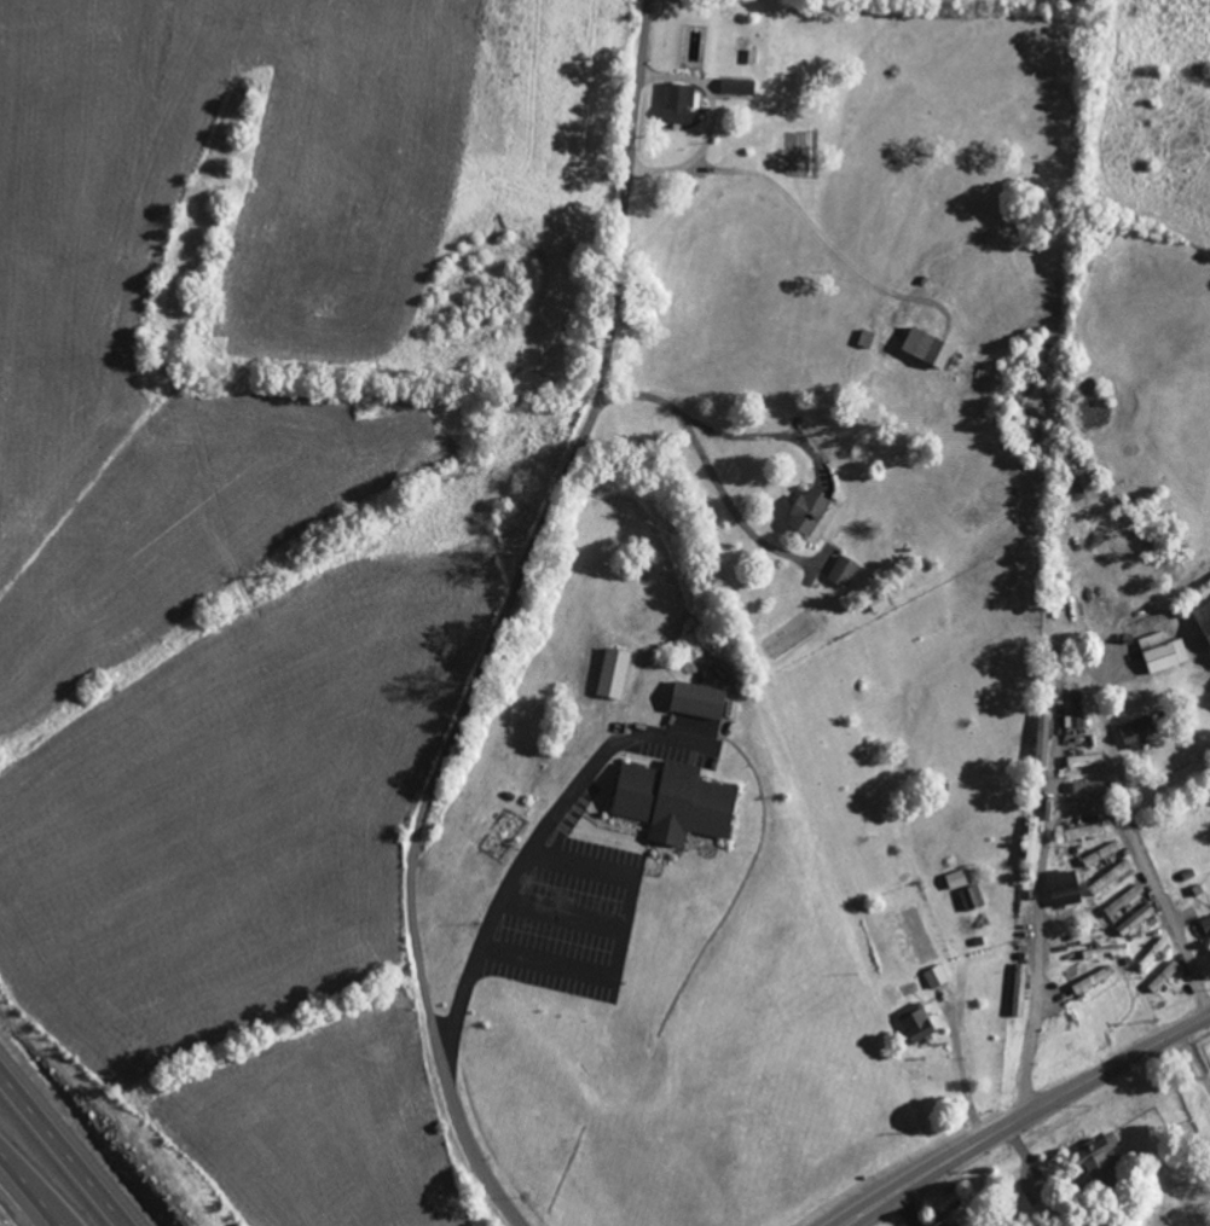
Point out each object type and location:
building: (676, 103)
road: (805, 215)
building: (925, 347)
road: (713, 429)
building: (810, 511)
building: (843, 571)
road: (499, 620)
building: (1203, 620)
building: (1162, 651)
building: (613, 673)
building: (696, 699)
building: (1076, 709)
building: (1136, 732)
building: (1042, 739)
building: (1087, 760)
road: (1059, 772)
road: (1124, 780)
building: (1087, 786)
building: (672, 801)
road: (1052, 825)
building: (1084, 831)
road: (534, 844)
building: (1100, 853)
building: (1110, 877)
building: (956, 879)
building: (1064, 888)
building: (971, 897)
building: (1123, 900)
road: (562, 914)
building: (1135, 919)
building: (1205, 926)
road: (623, 940)
building: (1106, 951)
building: (1154, 952)
building: (934, 976)
building: (1164, 976)
building: (1093, 978)
building: (1019, 989)
building: (915, 1023)
road: (1023, 1114)
road: (66, 1145)
building: (1099, 1160)
road: (33, 1186)
building: (956, 1225)

